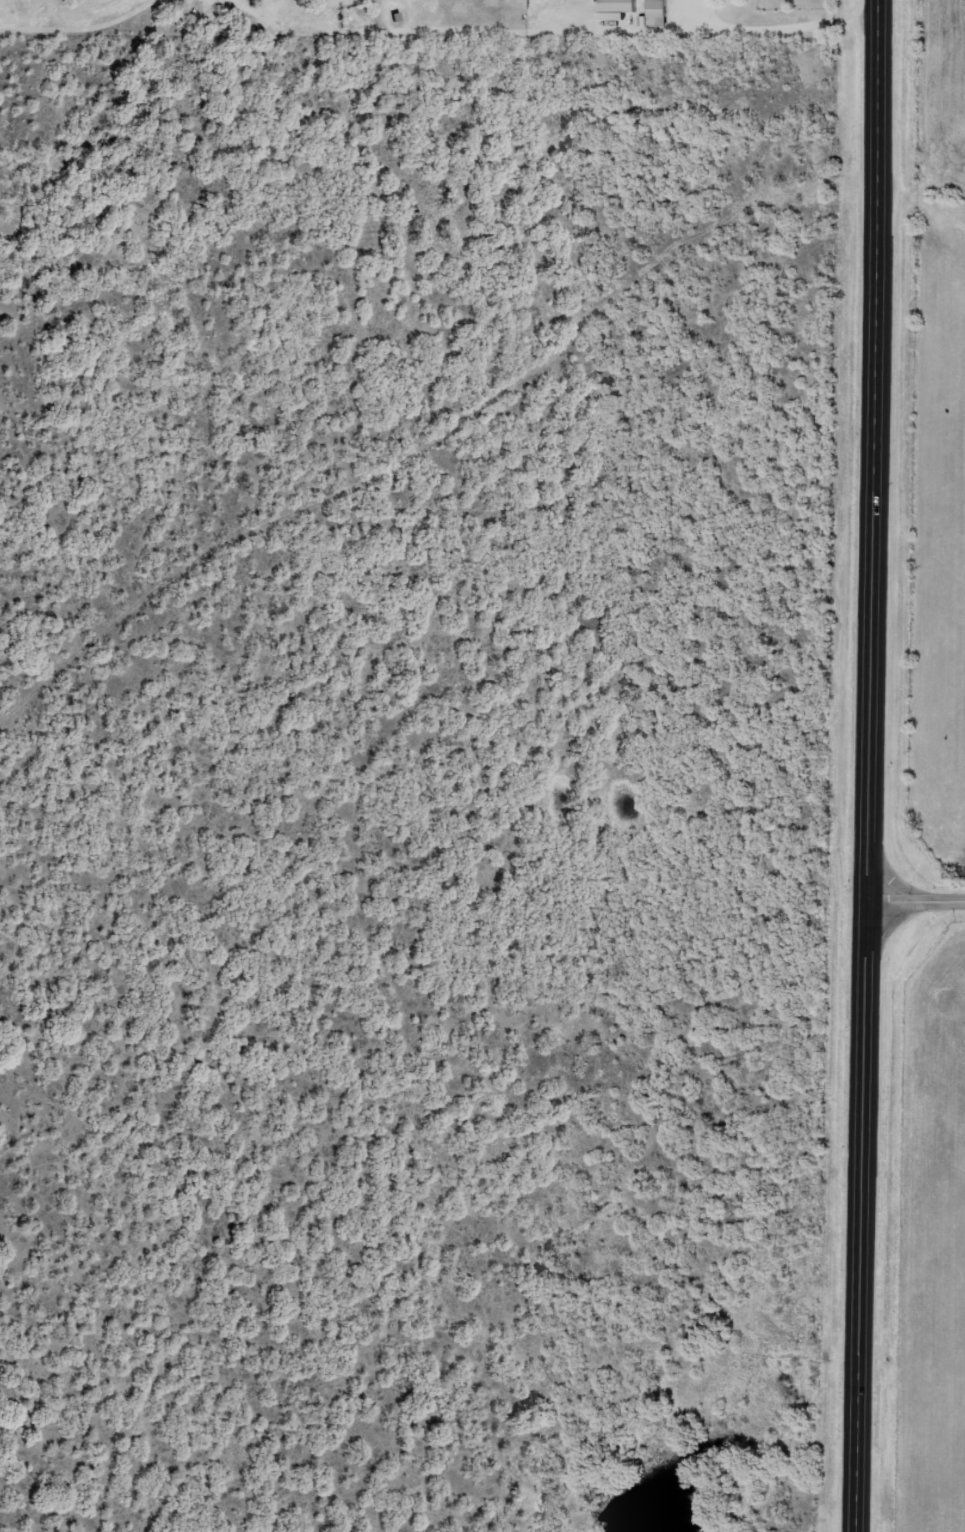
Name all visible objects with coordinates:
building: (618, 6)
building: (658, 13)
road: (55, 116)
road: (873, 450)
road: (438, 463)
road: (916, 900)
road: (452, 1077)
road: (862, 1216)
road: (530, 1348)

